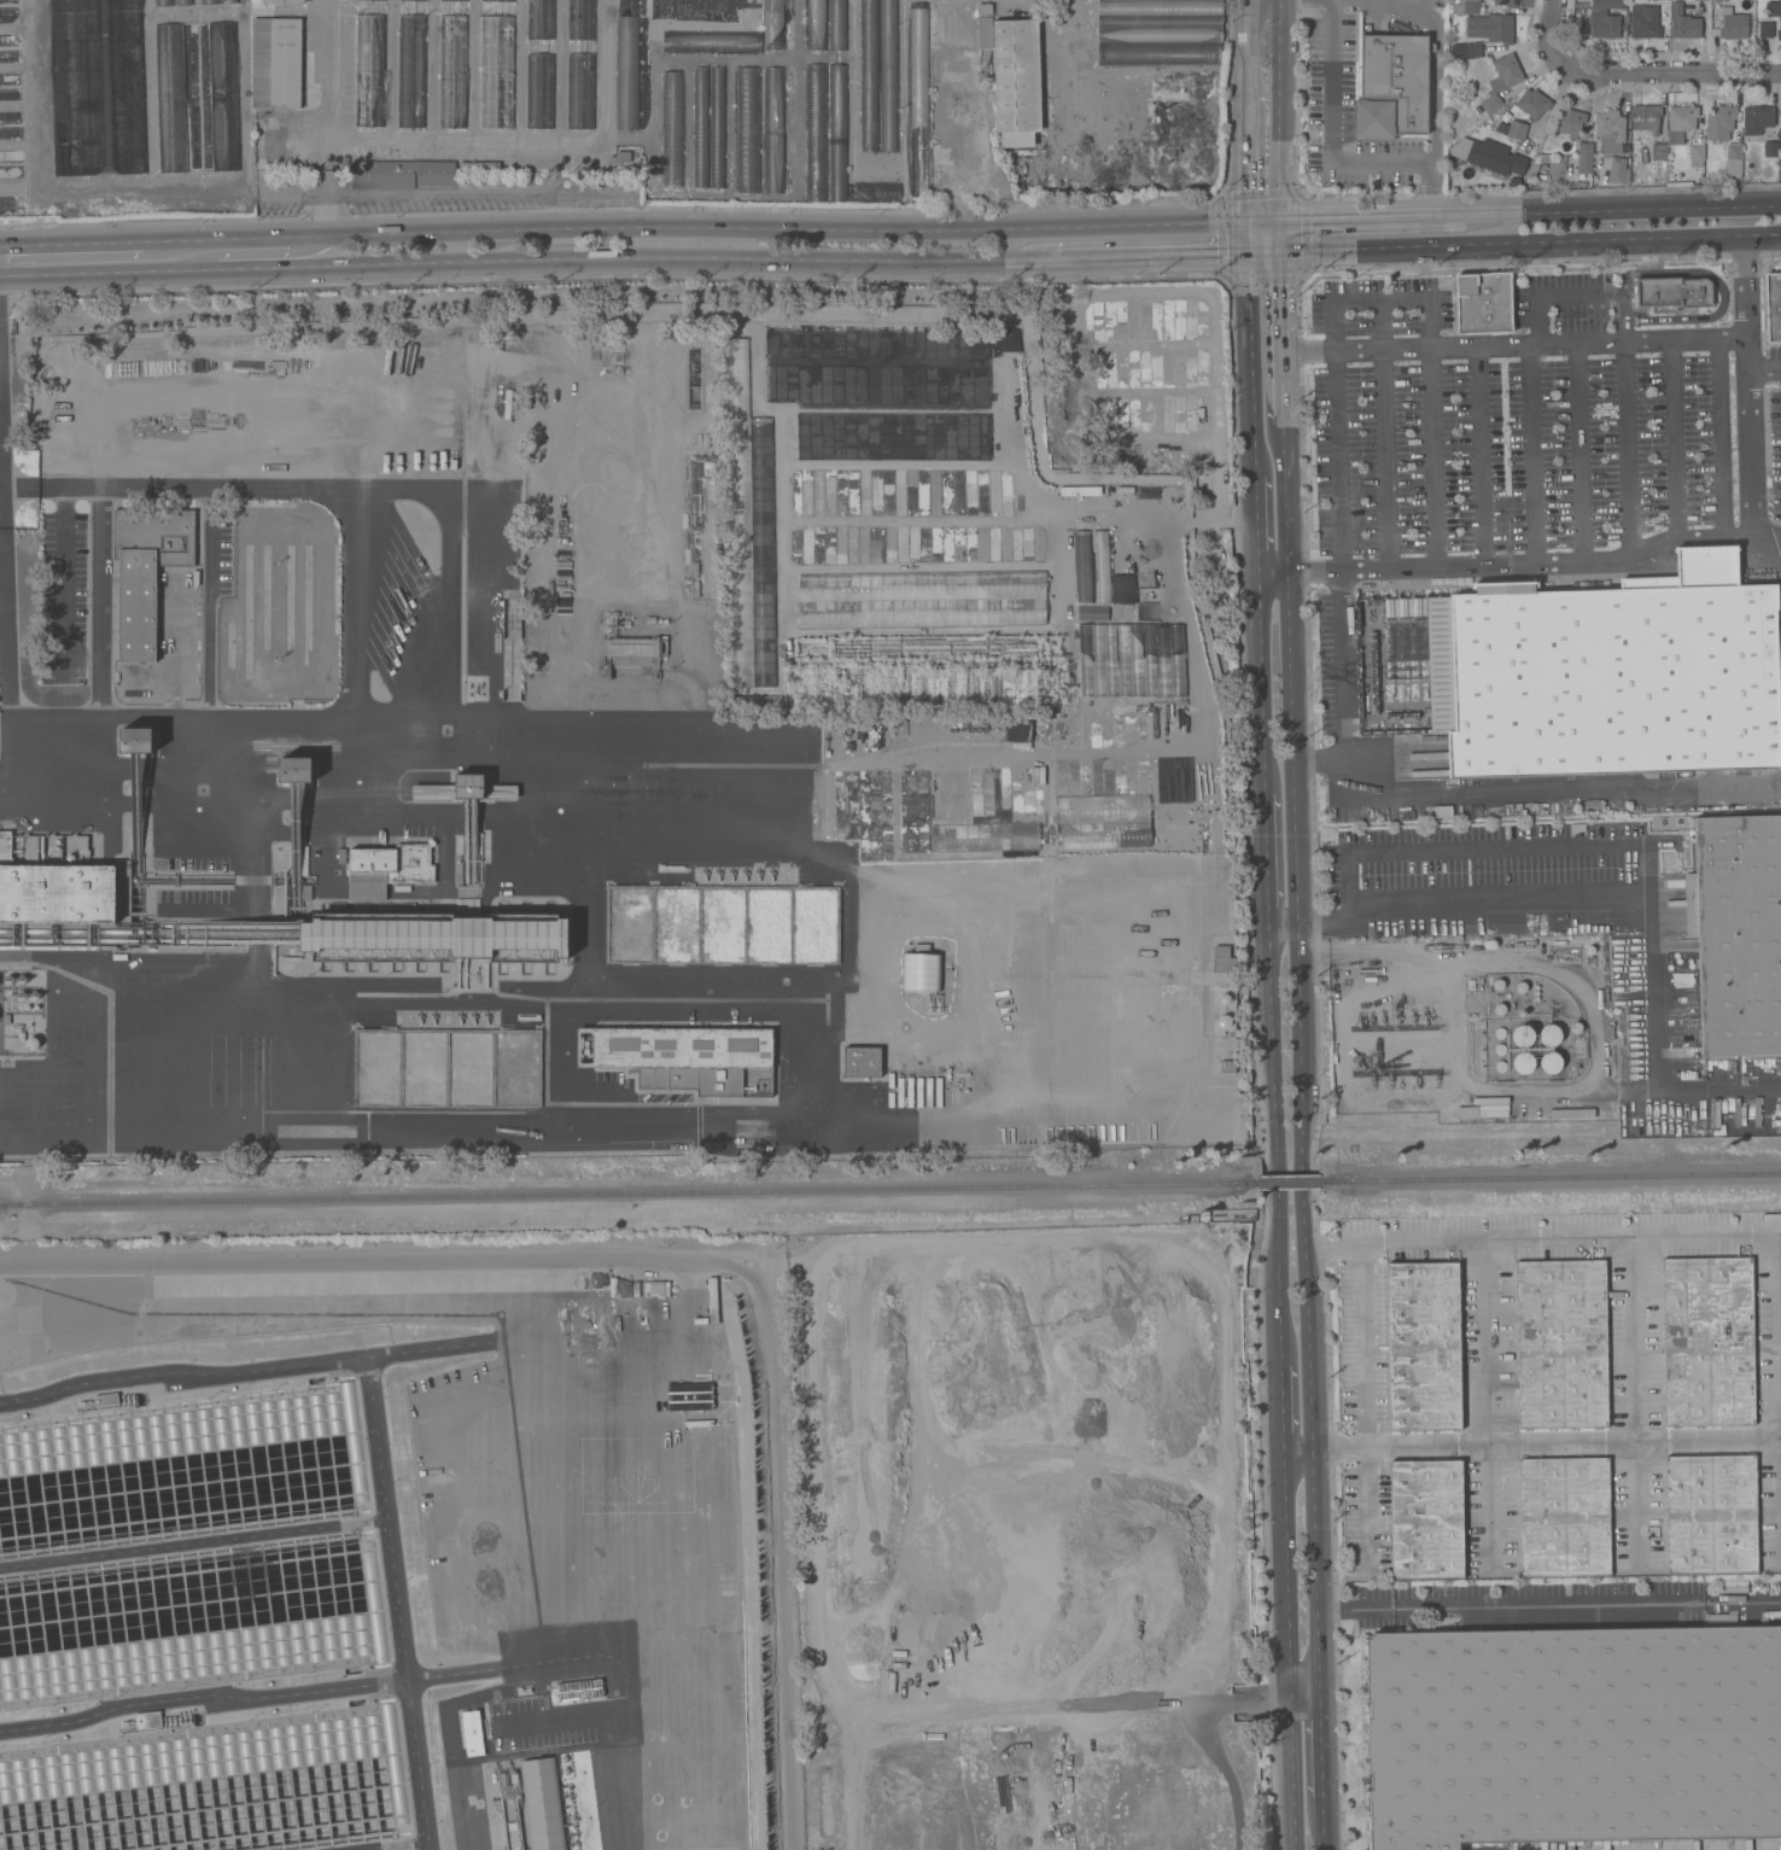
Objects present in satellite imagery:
building: (229, 0)
building: (381, 0)
building: (411, 0)
building: (457, 0)
building: (164, 1)
building: (183, 1)
building: (209, 1)
building: (278, 1)
building: (1506, 2)
building: (1161, 6)
building: (1464, 6)
building: (983, 8)
building: (1774, 10)
building: (1605, 18)
building: (1160, 21)
building: (1645, 21)
building: (773, 23)
building: (816, 23)
building: (1683, 23)
building: (836, 24)
building: (1733, 24)
building: (1491, 27)
building: (1765, 29)
road: (1552, 30)
building: (985, 31)
building: (1160, 34)
building: (712, 41)
road: (1246, 49)
building: (1472, 49)
building: (1158, 52)
building: (275, 62)
building: (496, 64)
building: (539, 64)
building: (580, 64)
building: (952, 68)
building: (369, 70)
building: (410, 70)
building: (452, 70)
building: (626, 71)
road: (1668, 71)
building: (888, 75)
building: (869, 76)
road: (1437, 77)
building: (1501, 80)
building: (1016, 81)
building: (1392, 88)
building: (223, 95)
building: (171, 98)
building: (918, 99)
building: (837, 100)
building: (1532, 103)
parking lot: (1353, 107)
road: (1279, 109)
building: (1682, 117)
road: (326, 118)
building: (1570, 121)
building: (1756, 121)
building: (1719, 122)
building: (1780, 123)
building: (1648, 126)
building: (700, 127)
building: (717, 127)
building: (773, 128)
building: (672, 129)
building: (747, 129)
building: (965, 129)
building: (1517, 130)
building: (1610, 130)
building: (816, 132)
building: (275, 138)
building: (1770, 148)
building: (1697, 154)
building: (620, 156)
road: (1332, 157)
building: (1495, 157)
building: (1584, 157)
building: (939, 159)
road: (1246, 159)
building: (1733, 162)
building: (1617, 169)
building: (837, 170)
building: (401, 174)
building: (876, 191)
road: (1621, 209)
road: (1370, 215)
traffic signals: (1279, 217)
traffic signals: (1248, 220)
road: (712, 224)
road: (1279, 234)
road: (1248, 237)
road: (72, 243)
road: (1513, 244)
traffic signals: (1279, 251)
traffic signals: (1248, 253)
road: (256, 255)
road: (1151, 256)
road: (527, 264)
road: (1719, 287)
building: (1672, 293)
road: (1380, 298)
road: (1576, 299)
building: (1483, 302)
building: (1773, 307)
road: (1280, 337)
building: (1006, 339)
road: (1513, 345)
road: (1250, 366)
road: (1764, 367)
road: (0, 373)
road: (1750, 401)
parking lot: (1530, 432)
road: (1384, 433)
road: (1719, 437)
road: (1677, 438)
building: (1023, 440)
road: (1627, 451)
road: (1582, 453)
road: (1534, 454)
road: (1481, 456)
road: (1433, 457)
building: (738, 512)
road: (1255, 526)
building: (761, 550)
road: (1513, 564)
building: (1082, 565)
building: (1100, 565)
road: (7, 570)
building: (147, 571)
road: (446, 572)
road: (1342, 573)
building: (1122, 588)
building: (1146, 591)
road: (99, 603)
road: (208, 603)
building: (918, 612)
building: (1103, 612)
building: (631, 646)
road: (1195, 652)
building: (1132, 660)
building: (1608, 673)
road: (1261, 684)
road: (233, 717)
road: (6, 725)
wastewater plant: (618, 729)
building: (1015, 729)
building: (138, 740)
building: (296, 769)
building: (1173, 780)
building: (463, 789)
road: (1566, 790)
building: (1529, 809)
building: (1443, 811)
building: (1102, 821)
road: (1548, 848)
road: (1267, 859)
building: (383, 868)
building: (54, 888)
road: (1502, 894)
building: (1736, 932)
building: (434, 939)
building: (1224, 964)
building: (919, 971)
road: (1578, 990)
road: (417, 993)
building: (1549, 1034)
building: (1522, 1035)
building: (1579, 1050)
building: (683, 1056)
building: (863, 1061)
road: (1300, 1062)
building: (1523, 1062)
building: (1551, 1062)
building: (1227, 1067)
road: (1273, 1145)
railway: (1553, 1177)
railway: (1294, 1181)
railway: (630, 1192)
railway: (5, 1206)
road: (1668, 1243)
road: (673, 1256)
building: (1709, 1342)
building: (1561, 1343)
building: (1424, 1347)
road: (245, 1368)
building: (689, 1396)
building: (106, 1399)
road: (1635, 1402)
road: (1485, 1406)
road: (1279, 1408)
building: (603, 1410)
road: (1366, 1410)
road: (1530, 1447)
building: (1712, 1515)
building: (1565, 1517)
building: (1426, 1519)
wastewater plant: (398, 1546)
road: (1285, 1577)
road: (1547, 1603)
road: (398, 1604)
road: (247, 1697)
road: (1304, 1703)
building: (148, 1718)
building: (471, 1733)
building: (1573, 1735)
road: (1210, 1741)
road: (1320, 1749)
road: (1292, 1776)
building: (533, 1807)
road: (1321, 1822)

